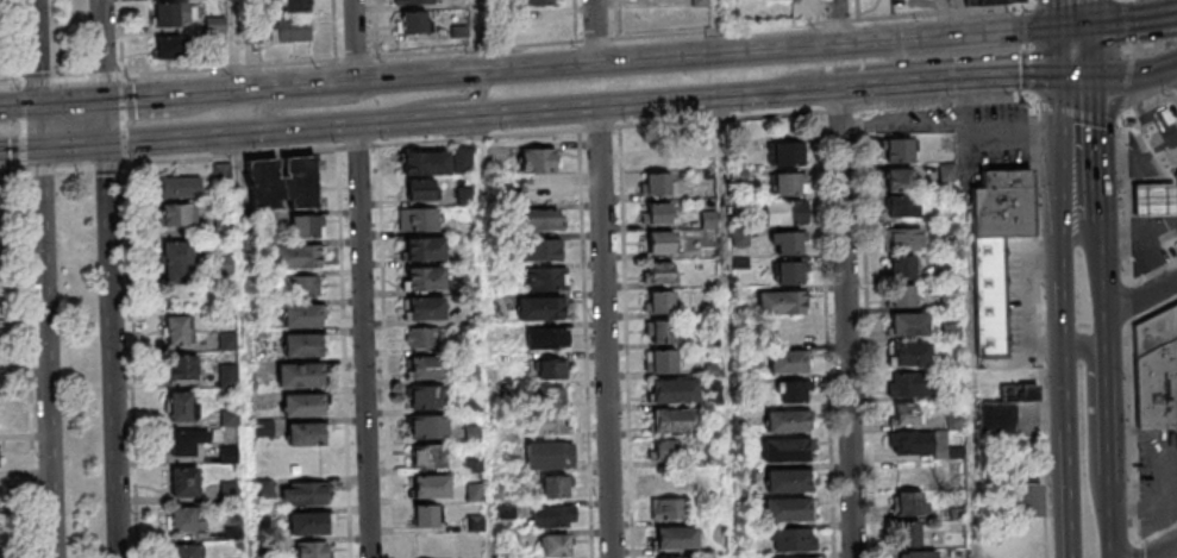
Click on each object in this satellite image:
building: (413, 1)
building: (994, 1)
building: (534, 2)
road: (1028, 2)
road: (1051, 2)
building: (295, 6)
road: (858, 10)
road: (818, 12)
building: (171, 13)
road: (944, 13)
road: (1075, 13)
road: (1172, 14)
road: (959, 18)
road: (616, 19)
road: (576, 20)
road: (1121, 20)
building: (411, 21)
road: (838, 21)
building: (215, 25)
road: (719, 26)
traffic signals: (1076, 26)
road: (1052, 27)
road: (376, 29)
road: (336, 30)
building: (290, 31)
road: (596, 31)
road: (480, 35)
road: (934, 37)
road: (121, 38)
road: (355, 40)
road: (20, 42)
building: (169, 48)
road: (492, 49)
road: (105, 50)
road: (1076, 51)
road: (1029, 54)
road: (1132, 58)
road: (611, 62)
road: (844, 69)
traffic signals: (1077, 77)
road: (1127, 79)
road: (73, 80)
road: (369, 80)
road: (978, 80)
road: (11, 84)
road: (270, 87)
road: (840, 88)
road: (145, 96)
road: (443, 98)
road: (1175, 99)
traffic signals: (107, 100)
road: (73, 102)
road: (318, 102)
road: (19, 105)
traffic signals: (39, 105)
road: (1150, 106)
road: (595, 107)
road: (826, 112)
road: (1077, 114)
road: (107, 123)
road: (1077, 123)
road: (374, 124)
road: (314, 128)
road: (188, 138)
traffic signals: (108, 145)
road: (374, 146)
road: (75, 148)
road: (20, 150)
traffic signals: (42, 150)
building: (662, 150)
building: (900, 151)
building: (783, 152)
building: (538, 161)
building: (425, 162)
road: (75, 169)
road: (12, 174)
building: (1175, 176)
road: (1077, 177)
building: (900, 181)
building: (281, 183)
building: (657, 183)
building: (787, 183)
building: (180, 186)
building: (419, 189)
building: (539, 190)
road: (1126, 199)
building: (1156, 200)
building: (1003, 206)
building: (901, 207)
building: (176, 214)
building: (659, 214)
building: (785, 214)
building: (418, 220)
building: (543, 220)
building: (302, 226)
building: (947, 231)
building: (902, 239)
building: (661, 243)
building: (789, 244)
building: (425, 249)
building: (541, 251)
building: (295, 257)
building: (175, 261)
building: (224, 265)
building: (903, 267)
road: (1104, 267)
road: (1152, 271)
building: (661, 272)
building: (790, 274)
road: (45, 278)
building: (425, 278)
building: (546, 280)
building: (301, 287)
building: (902, 296)
building: (990, 297)
road: (1142, 297)
building: (662, 302)
road: (1128, 302)
building: (781, 303)
building: (426, 309)
building: (540, 309)
road: (1153, 312)
building: (302, 316)
road: (969, 319)
road: (849, 322)
building: (907, 325)
road: (1085, 325)
road: (728, 327)
building: (179, 330)
road: (1040, 330)
road: (606, 332)
building: (662, 332)
building: (1156, 332)
road: (869, 334)
road: (828, 336)
road: (487, 337)
building: (424, 339)
building: (547, 339)
road: (364, 340)
building: (228, 343)
road: (627, 343)
road: (246, 345)
building: (303, 345)
road: (586, 345)
road: (112, 351)
road: (386, 352)
road: (344, 353)
building: (910, 355)
road: (132, 362)
building: (664, 362)
building: (787, 362)
road: (31, 365)
building: (180, 368)
building: (549, 368)
building: (428, 369)
road: (1063, 371)
building: (228, 374)
building: (471, 375)
building: (300, 377)
building: (909, 384)
building: (1157, 388)
building: (790, 390)
building: (675, 391)
building: (553, 396)
building: (430, 399)
building: (471, 405)
building: (302, 406)
building: (182, 408)
building: (1003, 409)
building: (904, 413)
road: (1112, 414)
building: (230, 419)
building: (675, 421)
building: (787, 422)
building: (547, 424)
building: (264, 428)
building: (430, 428)
road: (1133, 432)
building: (305, 435)
road: (1094, 435)
building: (186, 443)
building: (912, 445)
building: (665, 450)
building: (785, 451)
building: (547, 454)
building: (230, 457)
building: (427, 457)
building: (475, 465)
building: (672, 479)
building: (184, 482)
building: (788, 482)
building: (431, 488)
building: (555, 488)
building: (475, 493)
building: (306, 494)
building: (1027, 500)
building: (908, 502)
building: (507, 509)
building: (670, 510)
building: (785, 510)
building: (553, 516)
road: (1115, 516)
building: (426, 518)
building: (182, 521)
building: (308, 522)
building: (475, 525)
building: (907, 534)
road: (1156, 534)
building: (676, 539)
building: (795, 541)
building: (556, 547)
road: (1135, 548)
building: (311, 550)
road: (1162, 550)
building: (183, 552)
building: (919, 554)
building: (674, 557)
building: (790, 557)

